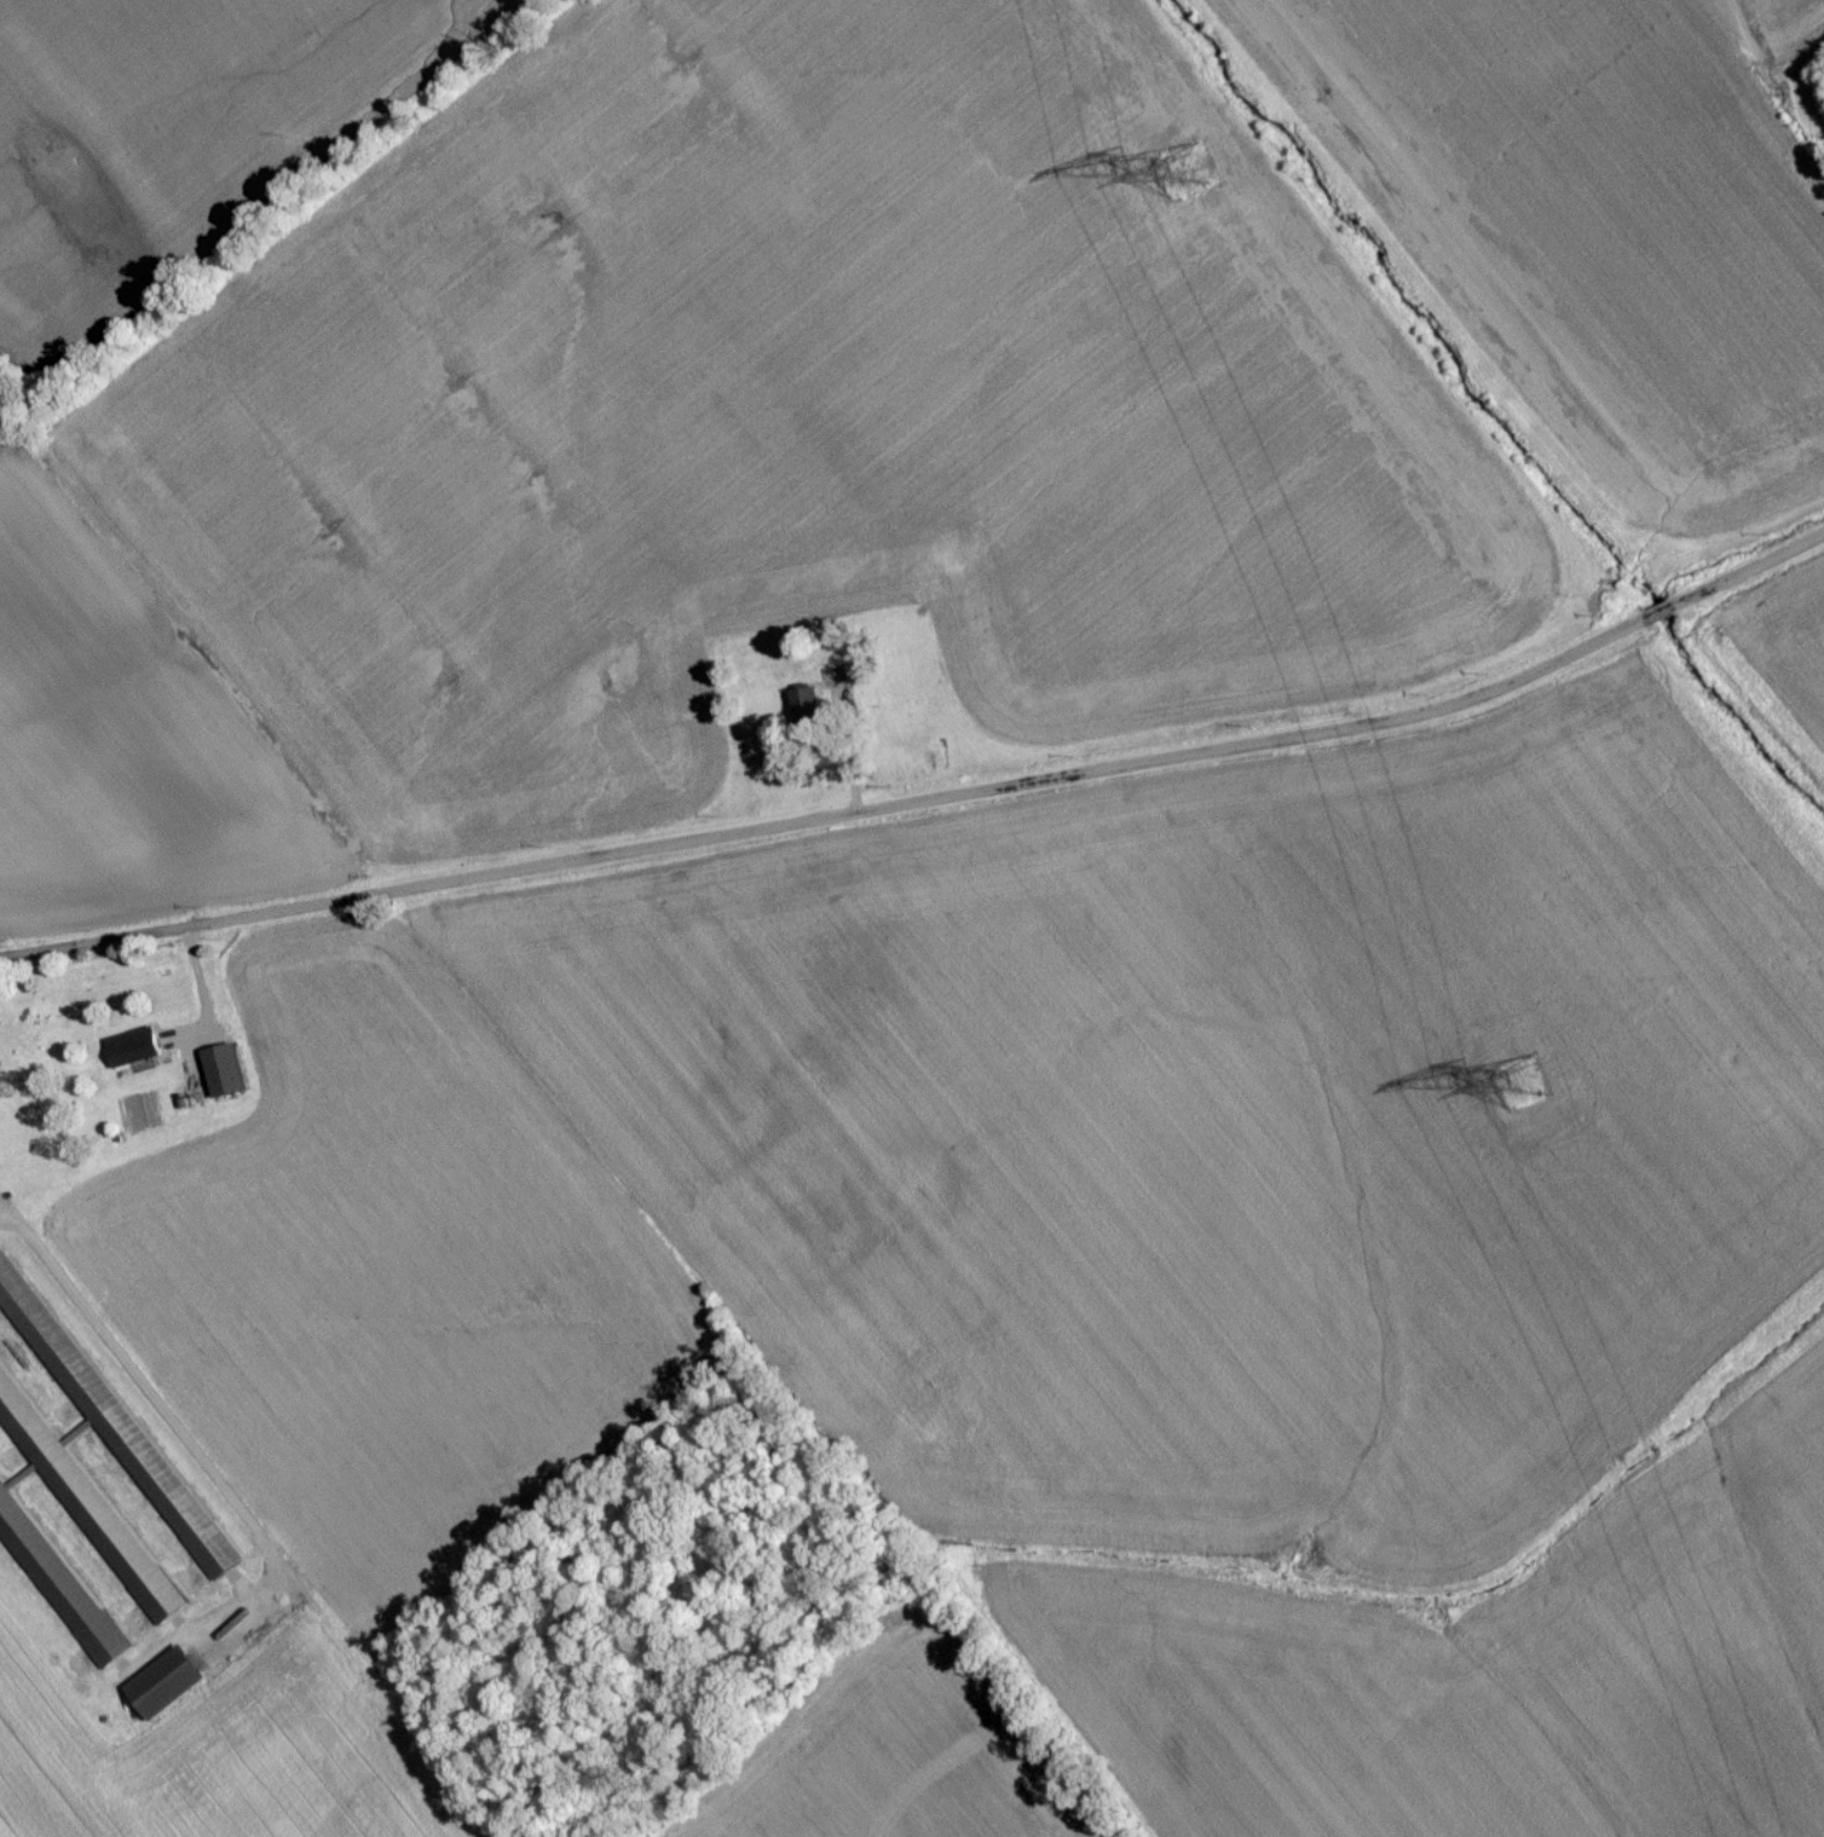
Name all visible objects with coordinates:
power tower: (1185, 177)
building: (833, 683)
building: (940, 762)
road: (929, 807)
road: (198, 987)
building: (133, 1055)
building: (225, 1078)
power tower: (1518, 1084)
building: (111, 1425)
building: (82, 1509)
building: (57, 1590)
building: (163, 1689)

